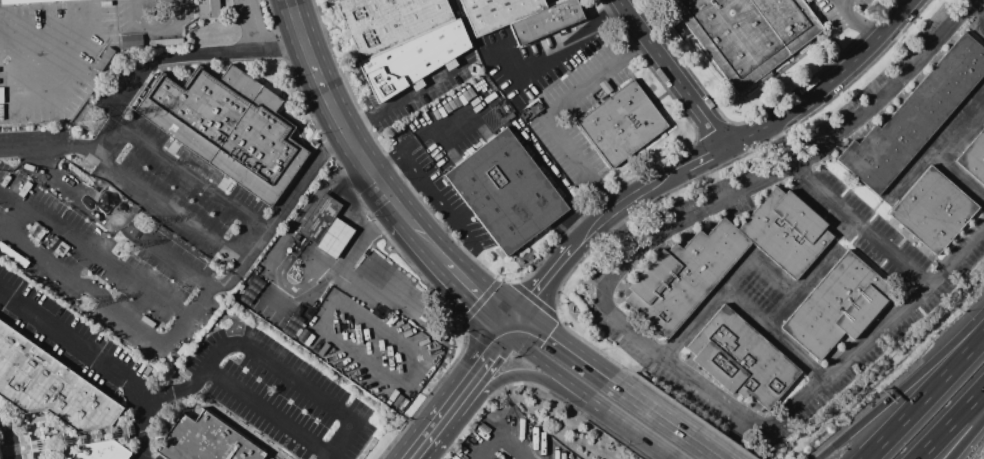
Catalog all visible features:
building: (46, 4)
road: (846, 4)
road: (975, 6)
building: (206, 8)
building: (498, 13)
building: (390, 20)
building: (548, 20)
road: (855, 22)
road: (254, 23)
road: (44, 30)
road: (155, 32)
building: (748, 34)
building: (129, 40)
road: (557, 54)
road: (175, 55)
building: (413, 55)
road: (674, 74)
road: (830, 84)
road: (887, 89)
road: (405, 100)
road: (331, 111)
road: (548, 112)
road: (754, 115)
building: (916, 118)
power tower: (88, 120)
building: (225, 123)
building: (620, 125)
road: (959, 130)
road: (709, 133)
road: (423, 136)
road: (783, 148)
road: (46, 149)
building: (974, 158)
road: (935, 160)
road: (412, 165)
road: (188, 175)
road: (691, 180)
building: (506, 193)
road: (170, 202)
road: (448, 211)
building: (933, 211)
road: (116, 219)
road: (606, 219)
power tower: (142, 223)
building: (326, 224)
road: (860, 228)
road: (419, 234)
building: (787, 234)
road: (389, 241)
road: (257, 243)
power tower: (125, 247)
road: (96, 248)
road: (826, 259)
road: (534, 270)
building: (684, 278)
road: (506, 280)
road: (724, 286)
road: (84, 287)
road: (380, 294)
road: (476, 294)
power tower: (85, 304)
building: (837, 308)
road: (691, 324)
traffic signals: (514, 328)
road: (72, 346)
road: (221, 347)
road: (573, 349)
road: (362, 358)
road: (489, 359)
building: (743, 360)
road: (540, 361)
road: (519, 376)
road: (901, 385)
building: (49, 386)
road: (708, 393)
road: (589, 398)
road: (928, 398)
road: (974, 403)
road: (267, 413)
road: (693, 418)
road: (440, 422)
road: (677, 423)
road: (639, 434)
road: (8, 436)
road: (941, 436)
road: (967, 439)
building: (204, 440)
road: (339, 440)
road: (502, 442)
road: (742, 448)
building: (103, 452)
road: (413, 456)
road: (415, 456)

